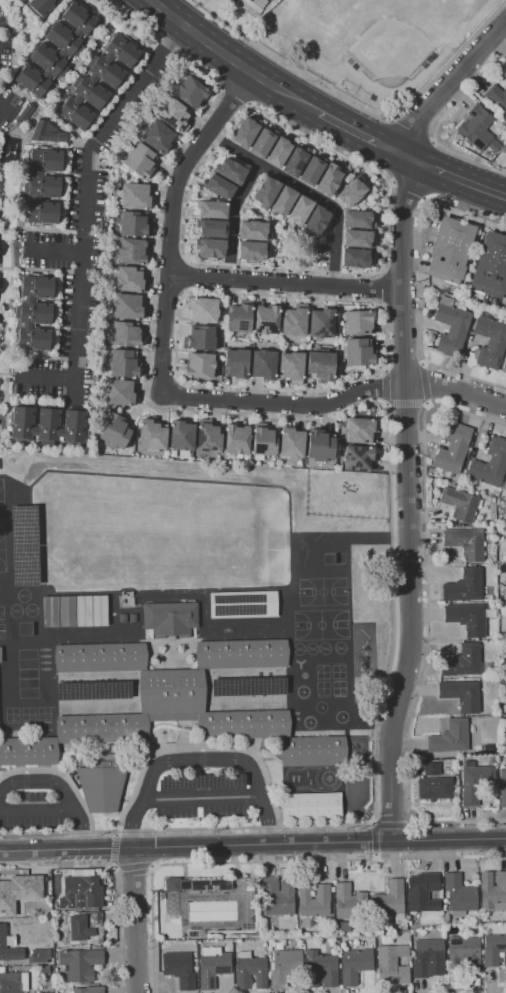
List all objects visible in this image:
building: (20, 0)
building: (43, 6)
park: (391, 49)
building: (57, 50)
road: (230, 59)
building: (98, 81)
road: (447, 87)
building: (192, 92)
road: (234, 94)
building: (497, 96)
road: (360, 107)
road: (5, 109)
building: (26, 114)
building: (175, 116)
road: (438, 121)
building: (11, 127)
building: (479, 129)
building: (246, 131)
road: (353, 131)
road: (408, 131)
building: (45, 132)
building: (158, 136)
building: (263, 142)
building: (280, 151)
building: (140, 160)
building: (296, 161)
building: (231, 170)
building: (313, 170)
road: (450, 176)
building: (330, 180)
building: (44, 185)
building: (219, 186)
road: (411, 189)
road: (305, 190)
building: (266, 191)
building: (352, 192)
building: (136, 196)
building: (283, 201)
road: (233, 208)
building: (213, 209)
building: (300, 211)
road: (86, 216)
building: (358, 219)
building: (135, 224)
building: (316, 224)
building: (213, 228)
building: (254, 230)
building: (358, 238)
building: (211, 248)
building: (451, 249)
road: (55, 251)
building: (132, 251)
building: (253, 251)
building: (356, 258)
building: (491, 266)
road: (323, 271)
road: (184, 276)
building: (131, 279)
road: (285, 282)
road: (420, 283)
road: (384, 289)
building: (128, 306)
building: (204, 309)
building: (36, 313)
building: (240, 317)
building: (267, 319)
building: (295, 320)
building: (359, 321)
building: (322, 323)
building: (451, 327)
building: (126, 334)
building: (201, 338)
building: (490, 341)
road: (163, 343)
building: (359, 352)
building: (123, 363)
building: (237, 363)
building: (264, 364)
building: (200, 365)
building: (321, 365)
building: (292, 366)
building: (504, 368)
road: (371, 374)
road: (423, 383)
road: (385, 387)
road: (456, 391)
building: (120, 392)
road: (406, 403)
road: (425, 403)
road: (388, 404)
building: (48, 425)
building: (362, 430)
building: (116, 432)
building: (152, 435)
building: (182, 435)
building: (209, 436)
building: (237, 439)
building: (264, 441)
road: (389, 442)
building: (292, 443)
building: (321, 445)
building: (453, 448)
building: (358, 457)
building: (490, 464)
building: (505, 487)
road: (408, 502)
building: (460, 504)
building: (466, 542)
building: (465, 586)
building: (242, 604)
building: (90, 610)
building: (49, 611)
building: (66, 611)
building: (171, 618)
road: (428, 618)
building: (468, 618)
building: (504, 623)
building: (0, 660)
building: (465, 661)
building: (462, 694)
building: (175, 704)
building: (450, 737)
road: (199, 748)
building: (488, 749)
road: (201, 758)
road: (201, 758)
building: (493, 760)
building: (430, 768)
road: (62, 774)
building: (475, 782)
building: (102, 783)
road: (25, 785)
road: (62, 787)
building: (435, 788)
building: (503, 788)
road: (203, 795)
parking lot: (200, 805)
building: (310, 805)
road: (37, 807)
parking lot: (33, 811)
road: (377, 822)
road: (115, 832)
road: (253, 845)
road: (375, 855)
road: (266, 860)
road: (117, 866)
road: (152, 866)
road: (114, 867)
road: (113, 874)
building: (19, 891)
building: (424, 891)
building: (493, 891)
building: (81, 892)
building: (460, 893)
building: (278, 897)
building: (315, 900)
building: (390, 900)
building: (350, 902)
building: (173, 906)
road: (135, 920)
building: (84, 928)
building: (193, 934)
building: (3, 935)
building: (60, 945)
building: (494, 950)
building: (465, 952)
building: (39, 955)
building: (428, 958)
building: (81, 963)
building: (393, 964)
building: (355, 965)
building: (213, 966)
building: (285, 966)
building: (180, 969)
building: (321, 969)
building: (45, 970)
building: (251, 971)
building: (13, 982)
road: (472, 988)
building: (89, 990)

